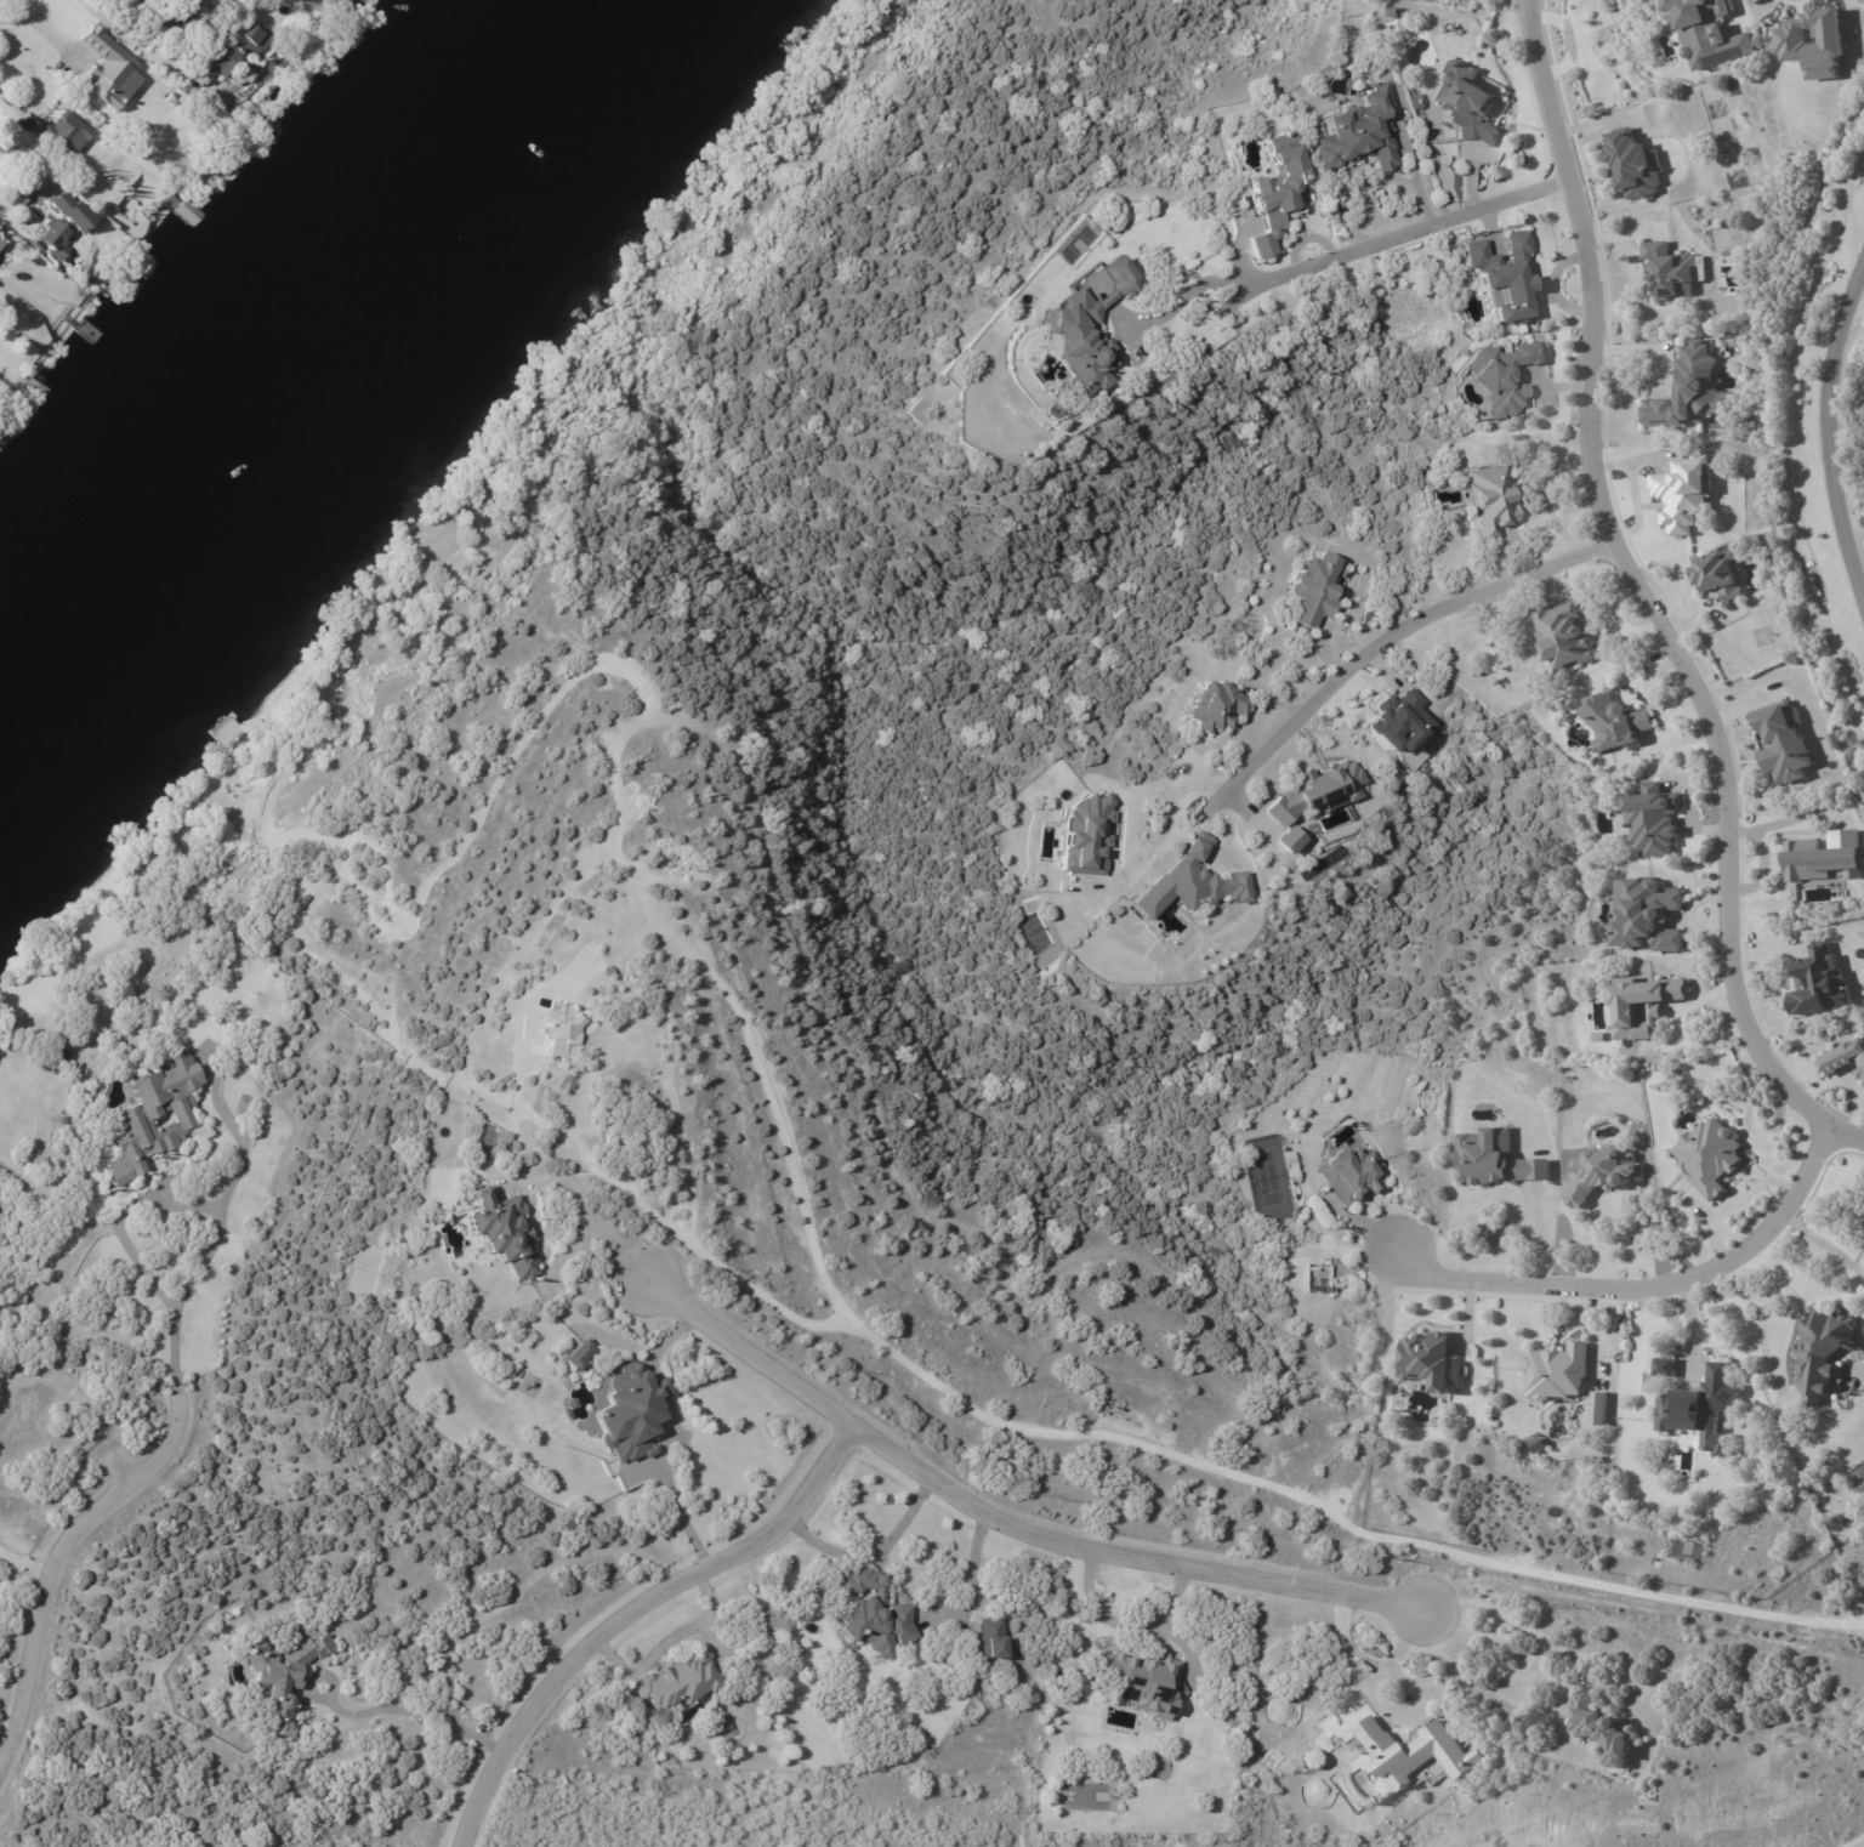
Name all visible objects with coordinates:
building: (222, 1)
building: (228, 1)
road: (40, 28)
building: (1709, 33)
building: (1812, 41)
building: (240, 47)
building: (108, 68)
building: (195, 89)
building: (170, 98)
building: (1468, 106)
building: (62, 131)
building: (1359, 133)
road: (24, 153)
building: (1633, 165)
building: (223, 166)
building: (1279, 193)
building: (184, 211)
building: (62, 223)
road: (1405, 235)
building: (1, 243)
building: (39, 246)
building: (1667, 271)
building: (1504, 278)
road: (1178, 305)
building: (1082, 333)
river: (299, 363)
building: (1501, 376)
building: (1689, 392)
road: (1836, 411)
building: (1682, 493)
building: (1489, 501)
building: (1717, 575)
building: (1311, 589)
road: (1644, 598)
building: (1561, 637)
road: (1381, 652)
building: (1217, 709)
building: (1396, 722)
building: (1613, 723)
building: (1783, 741)
building: (1317, 791)
road: (1165, 813)
building: (1650, 820)
building: (1085, 835)
building: (1288, 840)
building: (1823, 856)
building: (1187, 882)
building: (1644, 914)
building: (1818, 981)
building: (1641, 1005)
building: (1843, 1057)
building: (159, 1116)
building: (1710, 1155)
building: (1495, 1159)
building: (1601, 1172)
building: (1348, 1175)
road: (123, 1212)
road: (596, 1227)
building: (502, 1229)
road: (1775, 1269)
building: (1313, 1273)
road: (1646, 1286)
building: (1313, 1289)
road: (1761, 1311)
building: (1817, 1349)
building: (580, 1354)
building: (1432, 1362)
building: (1857, 1366)
building: (1664, 1368)
building: (1558, 1371)
building: (1598, 1406)
building: (1701, 1409)
building: (631, 1413)
road: (999, 1508)
road: (874, 1557)
road: (25, 1565)
road: (57, 1572)
road: (632, 1608)
building: (868, 1616)
road: (1524, 1622)
building: (989, 1638)
building: (288, 1677)
building: (1141, 1681)
building: (687, 1683)
road: (1391, 1705)
road: (415, 1709)
building: (1597, 1731)
building: (1413, 1754)
park: (1082, 1795)

